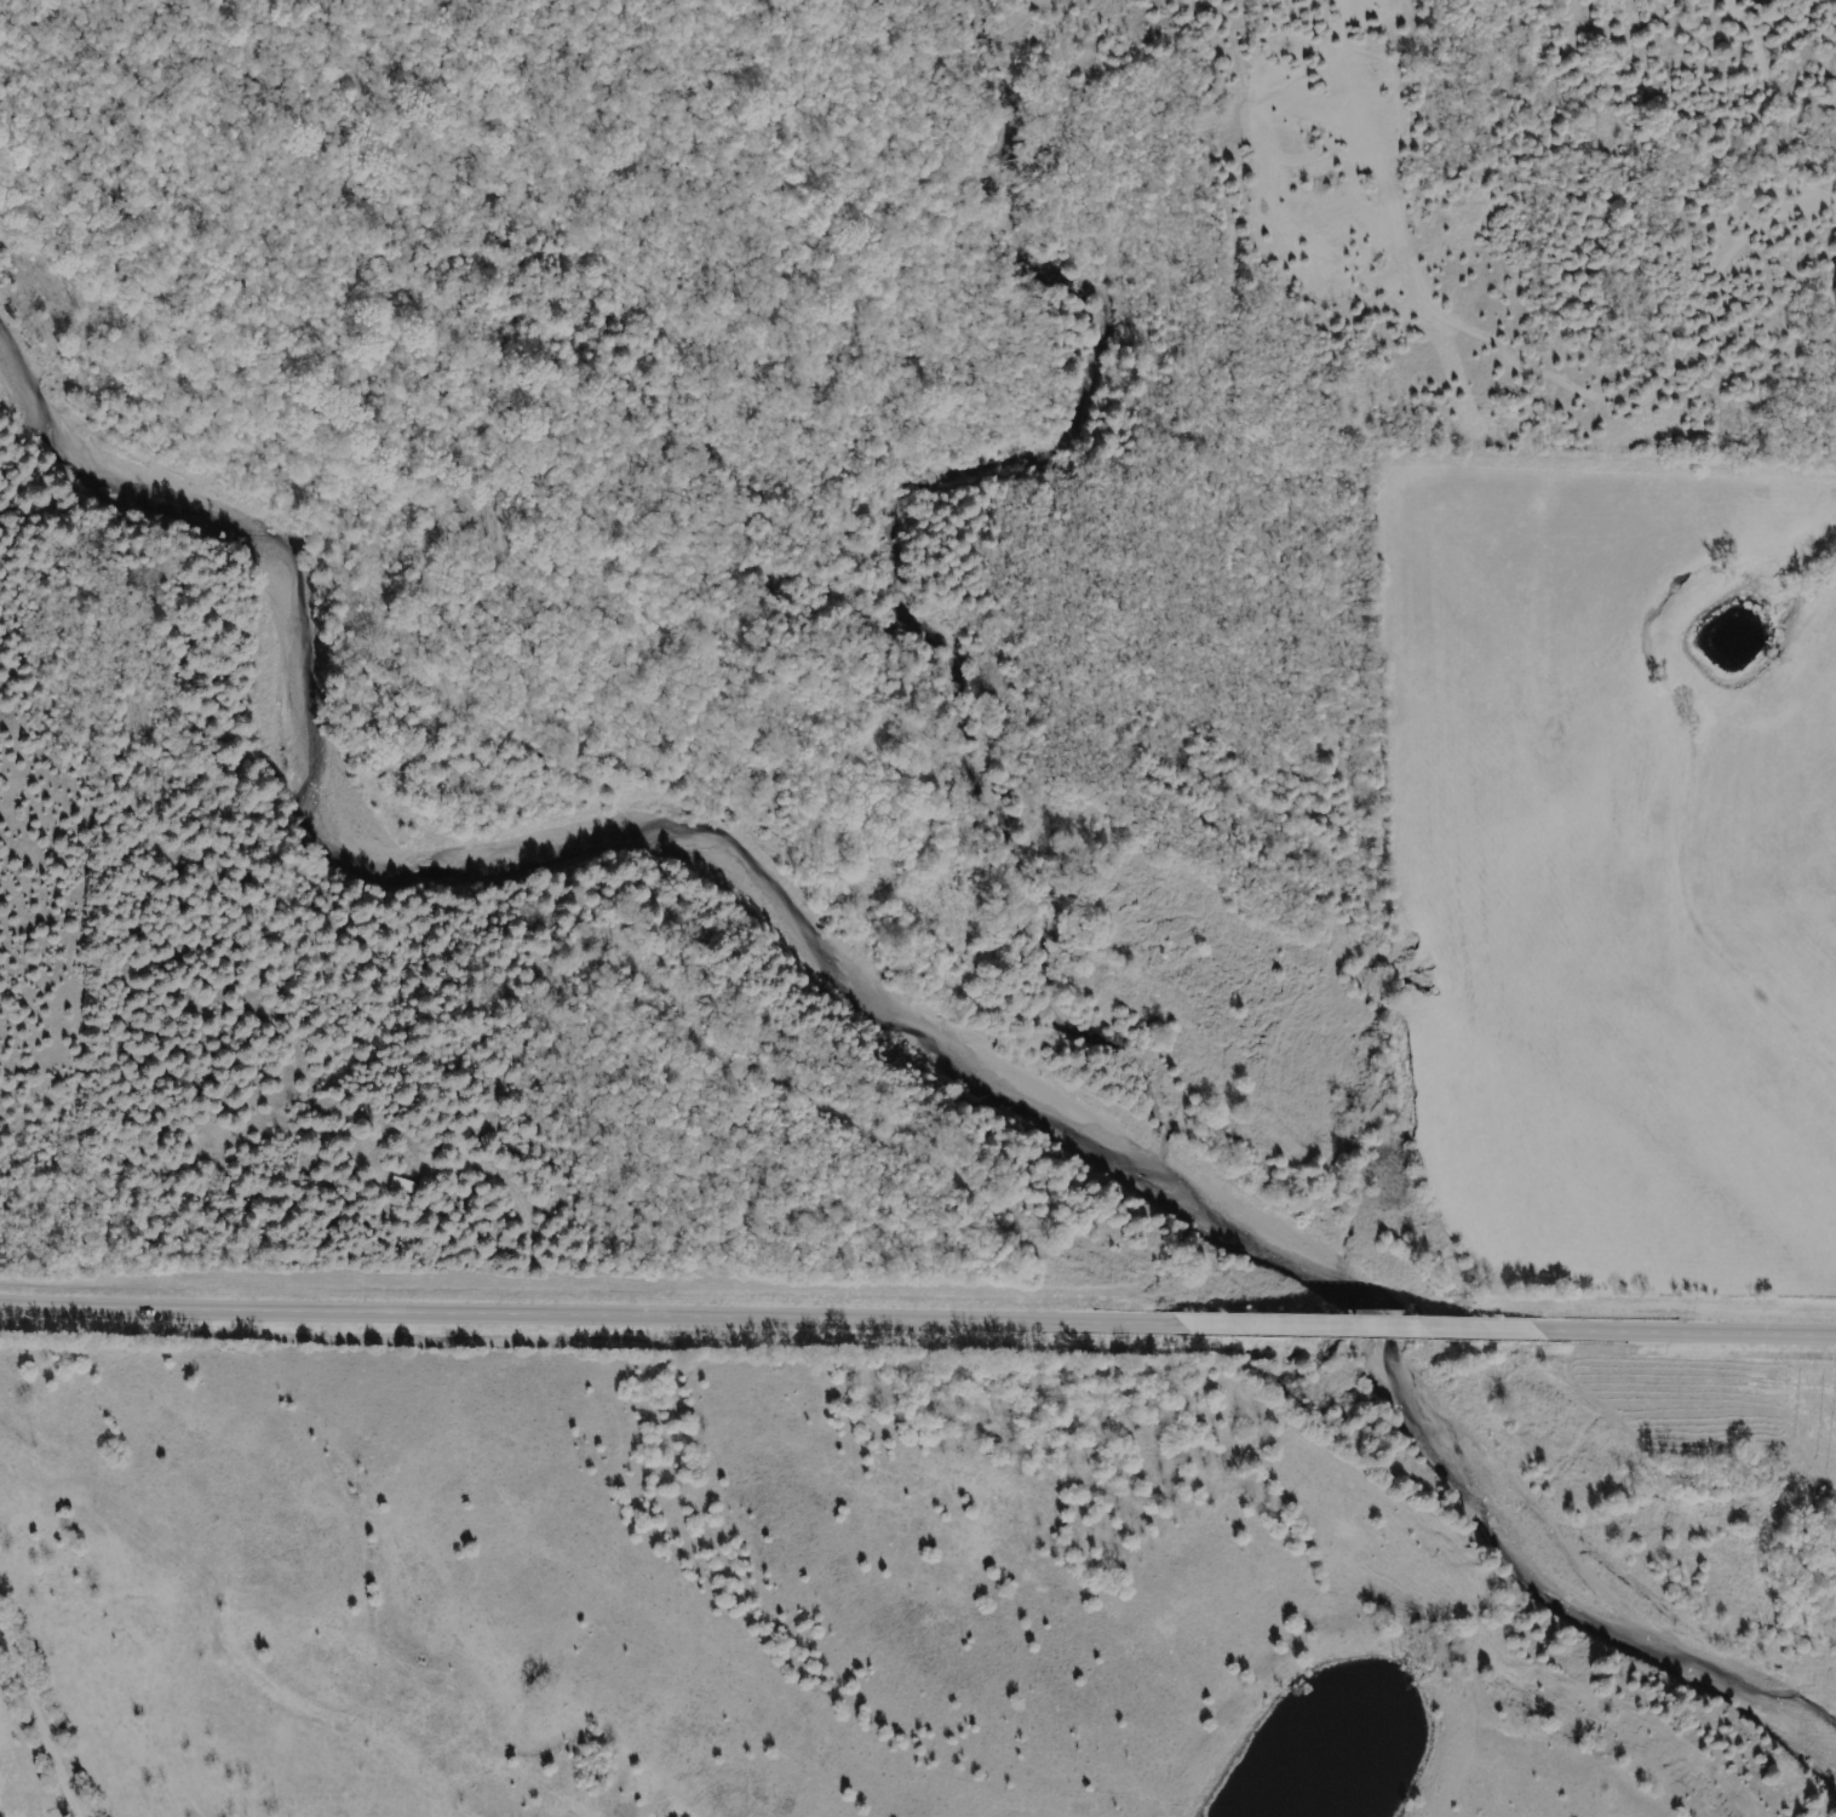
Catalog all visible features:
road: (917, 1316)
road: (35, 1727)

